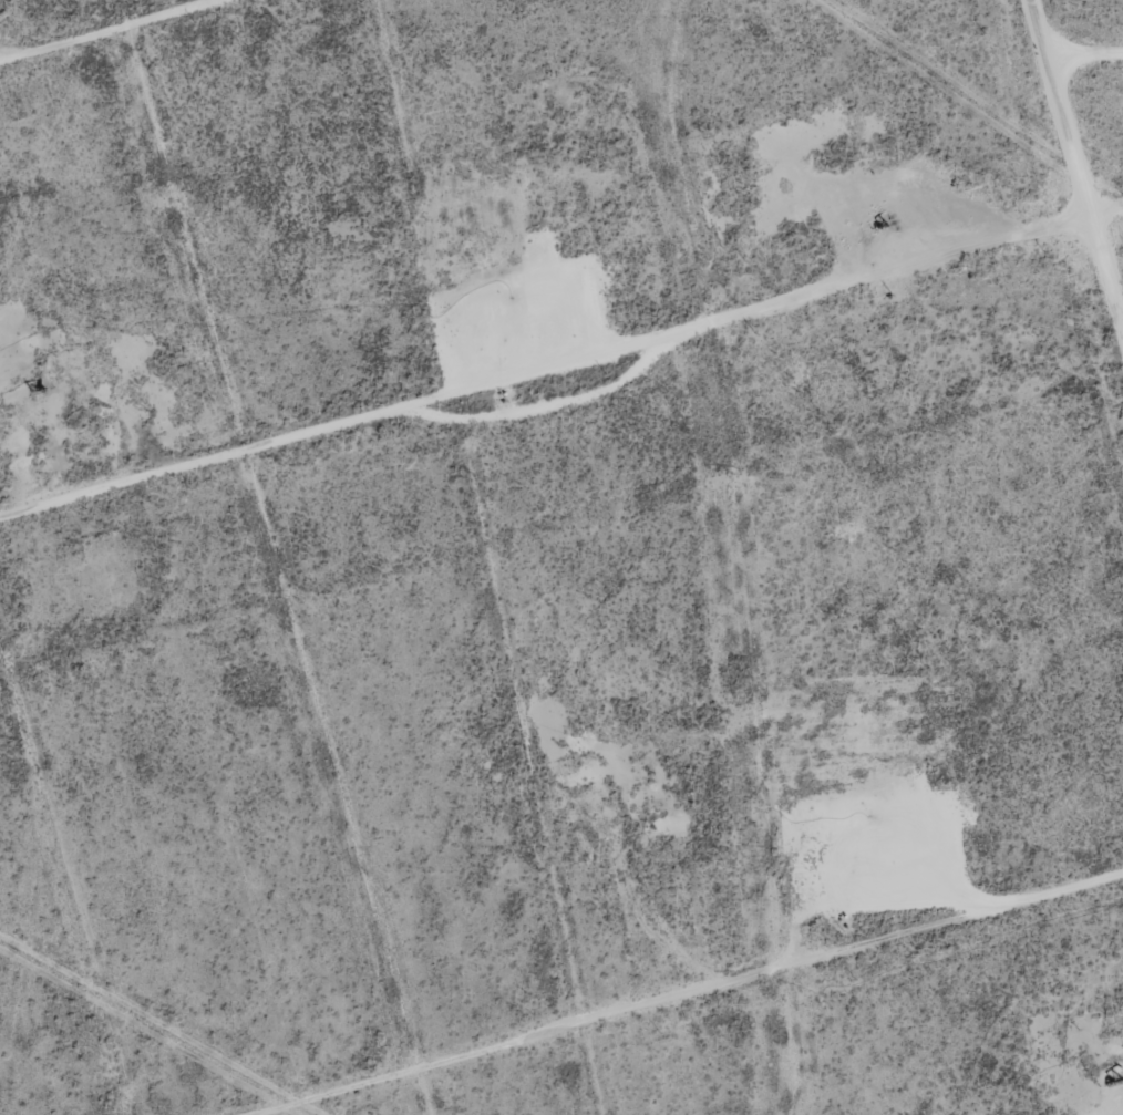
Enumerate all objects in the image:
road: (1085, 136)
road: (560, 399)
road: (752, 1010)

